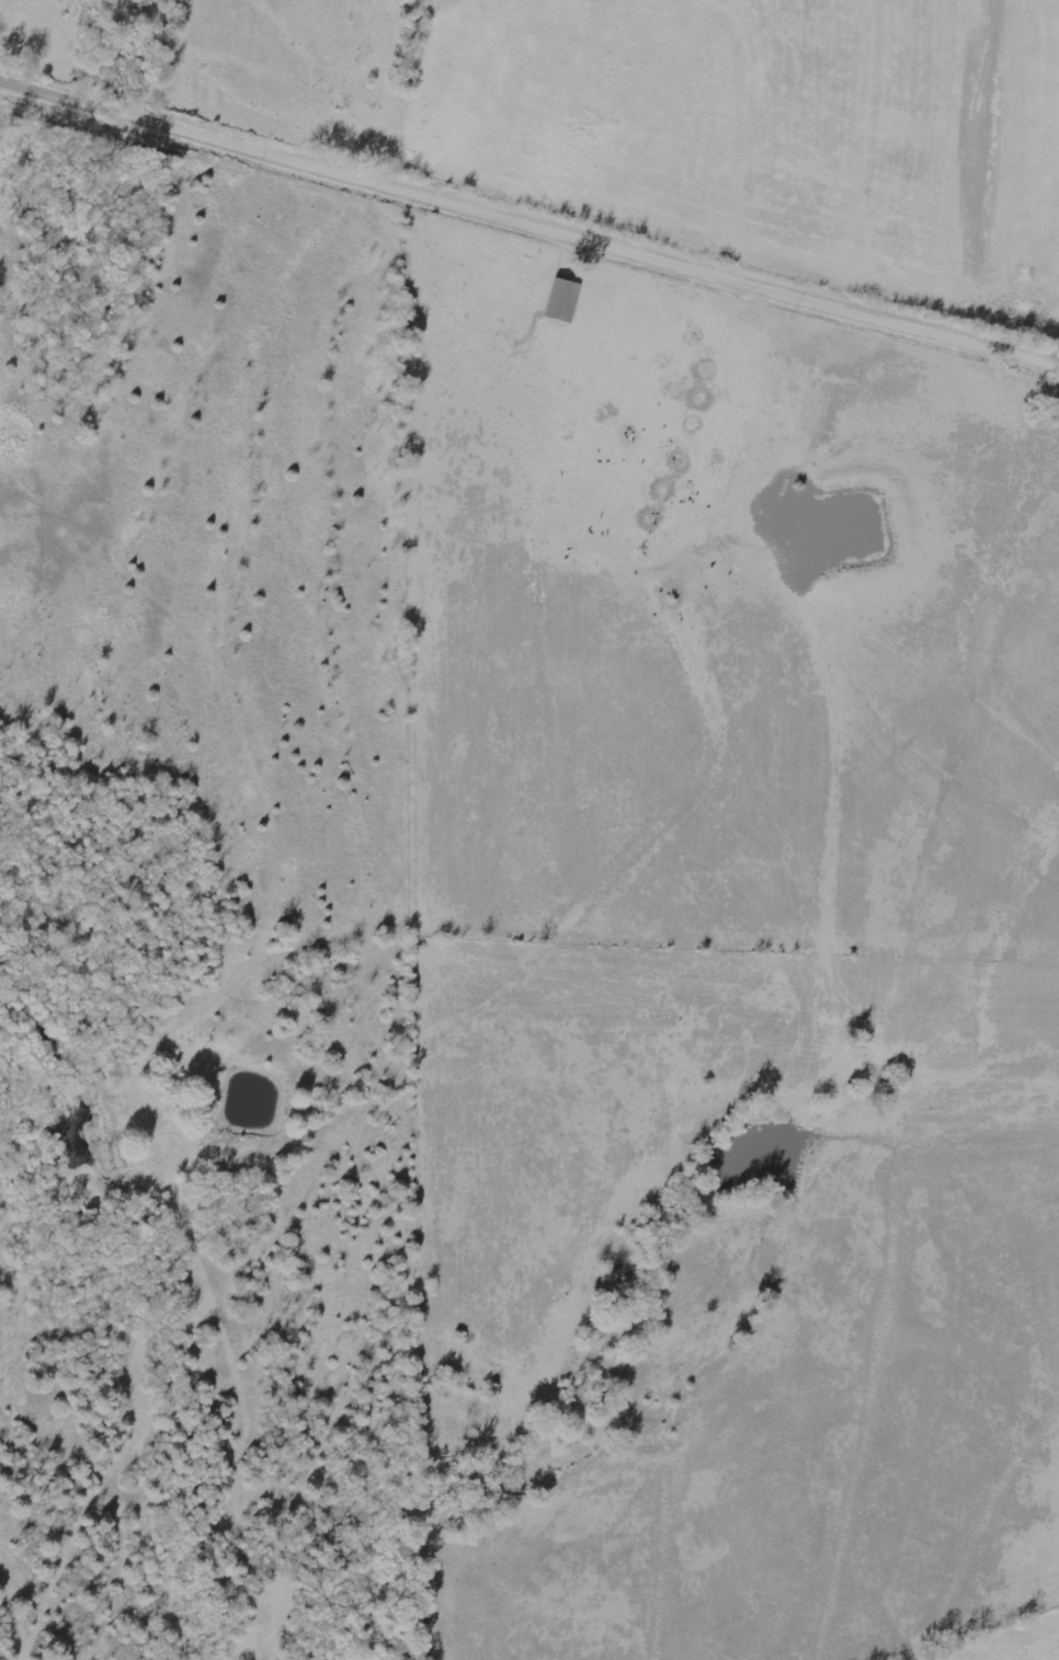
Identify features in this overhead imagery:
road: (528, 226)

